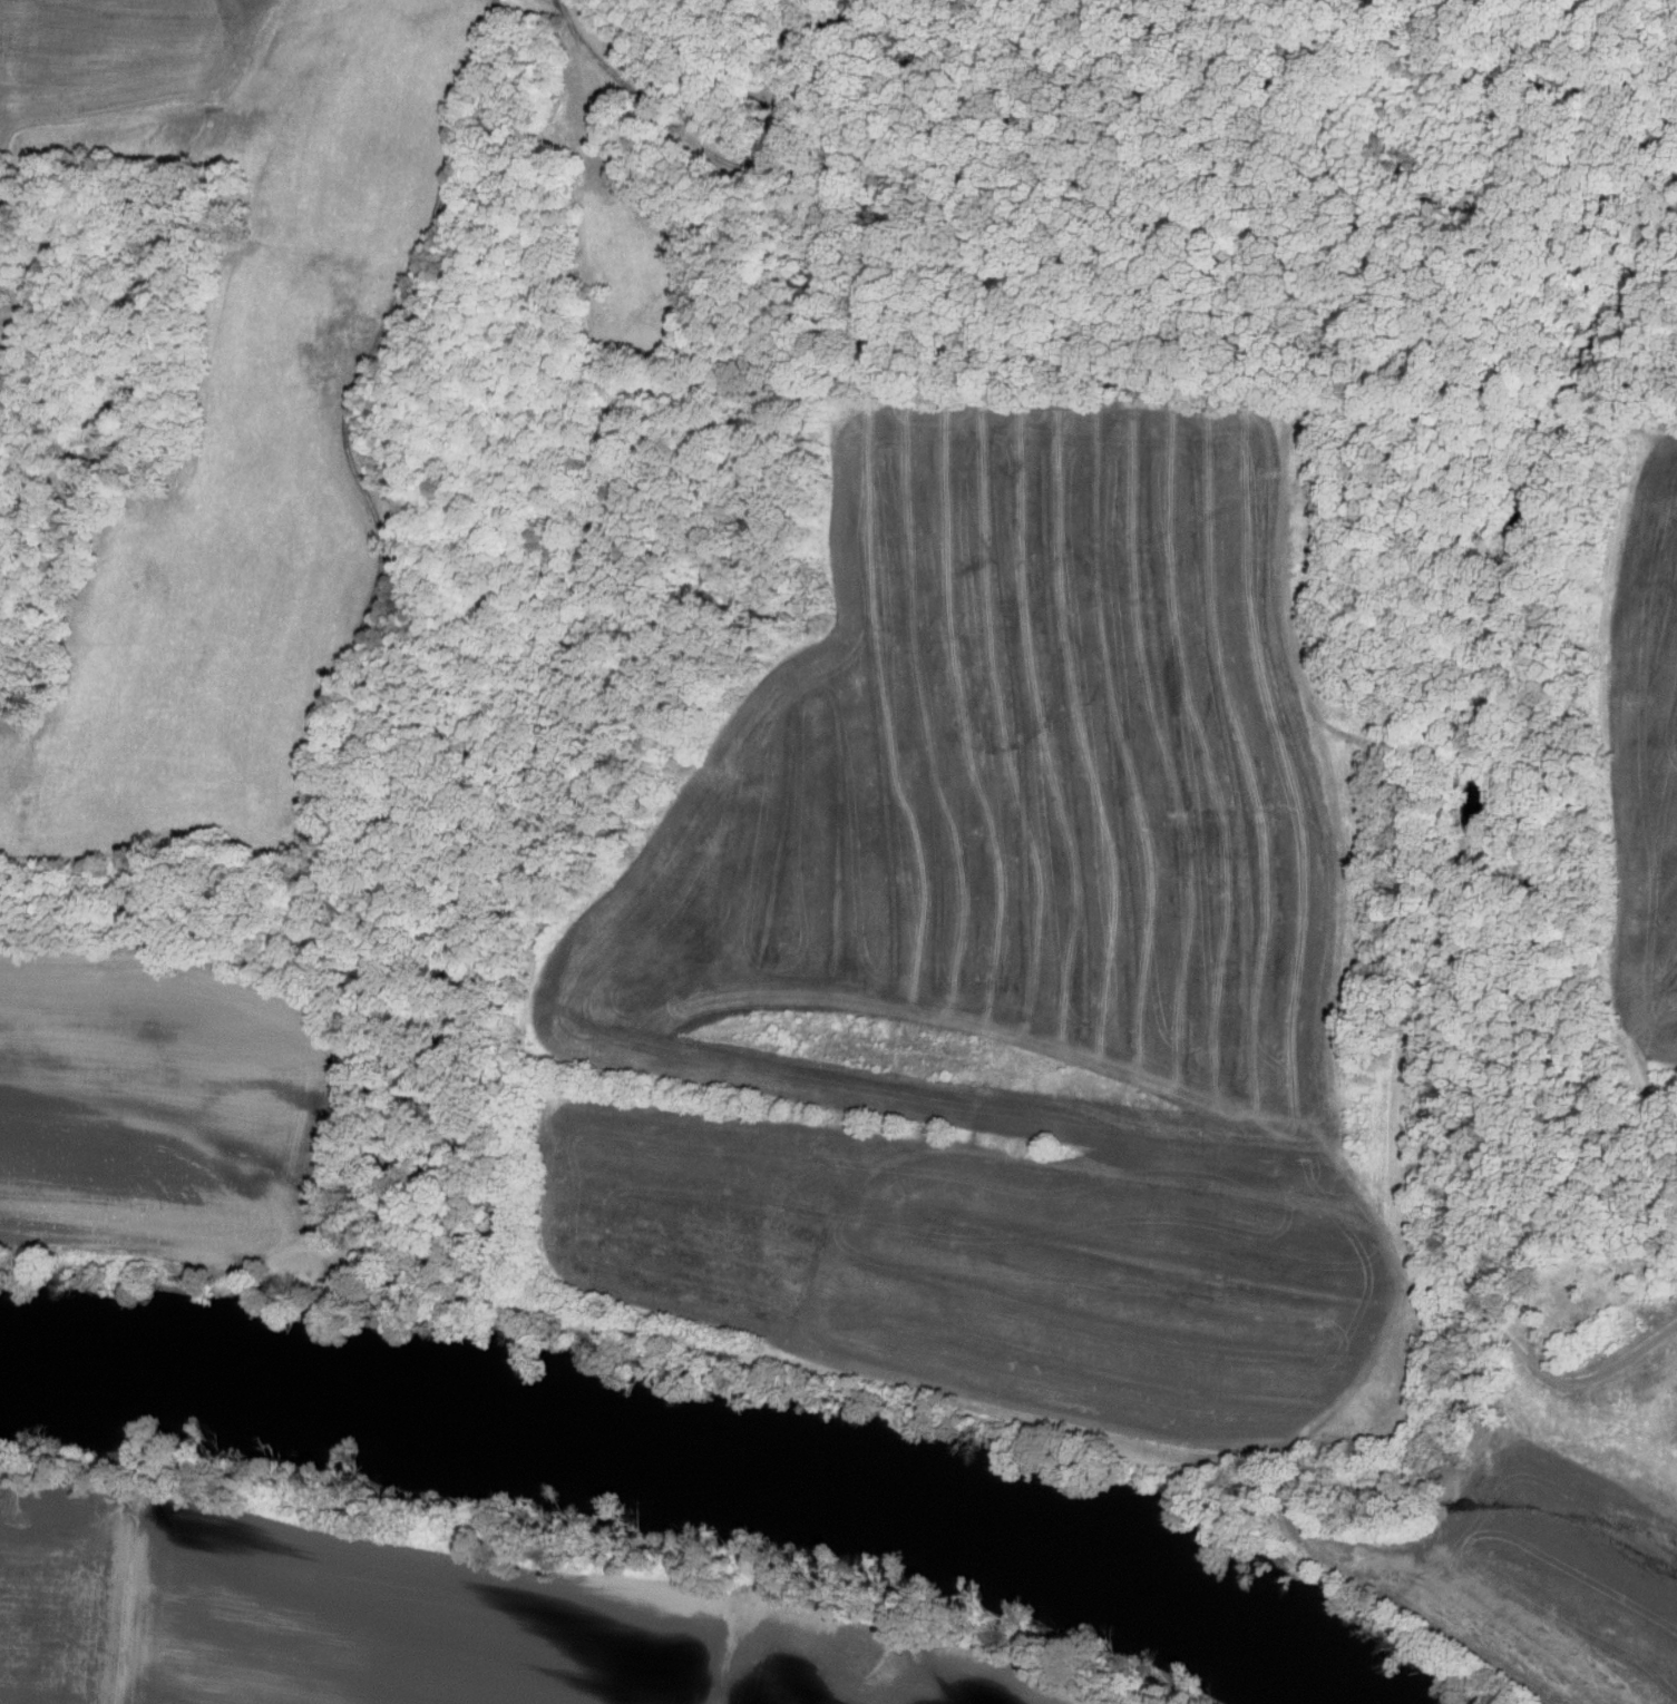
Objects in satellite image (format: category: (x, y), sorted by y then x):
road: (1328, 1388)
river: (712, 1450)
road: (126, 1599)

